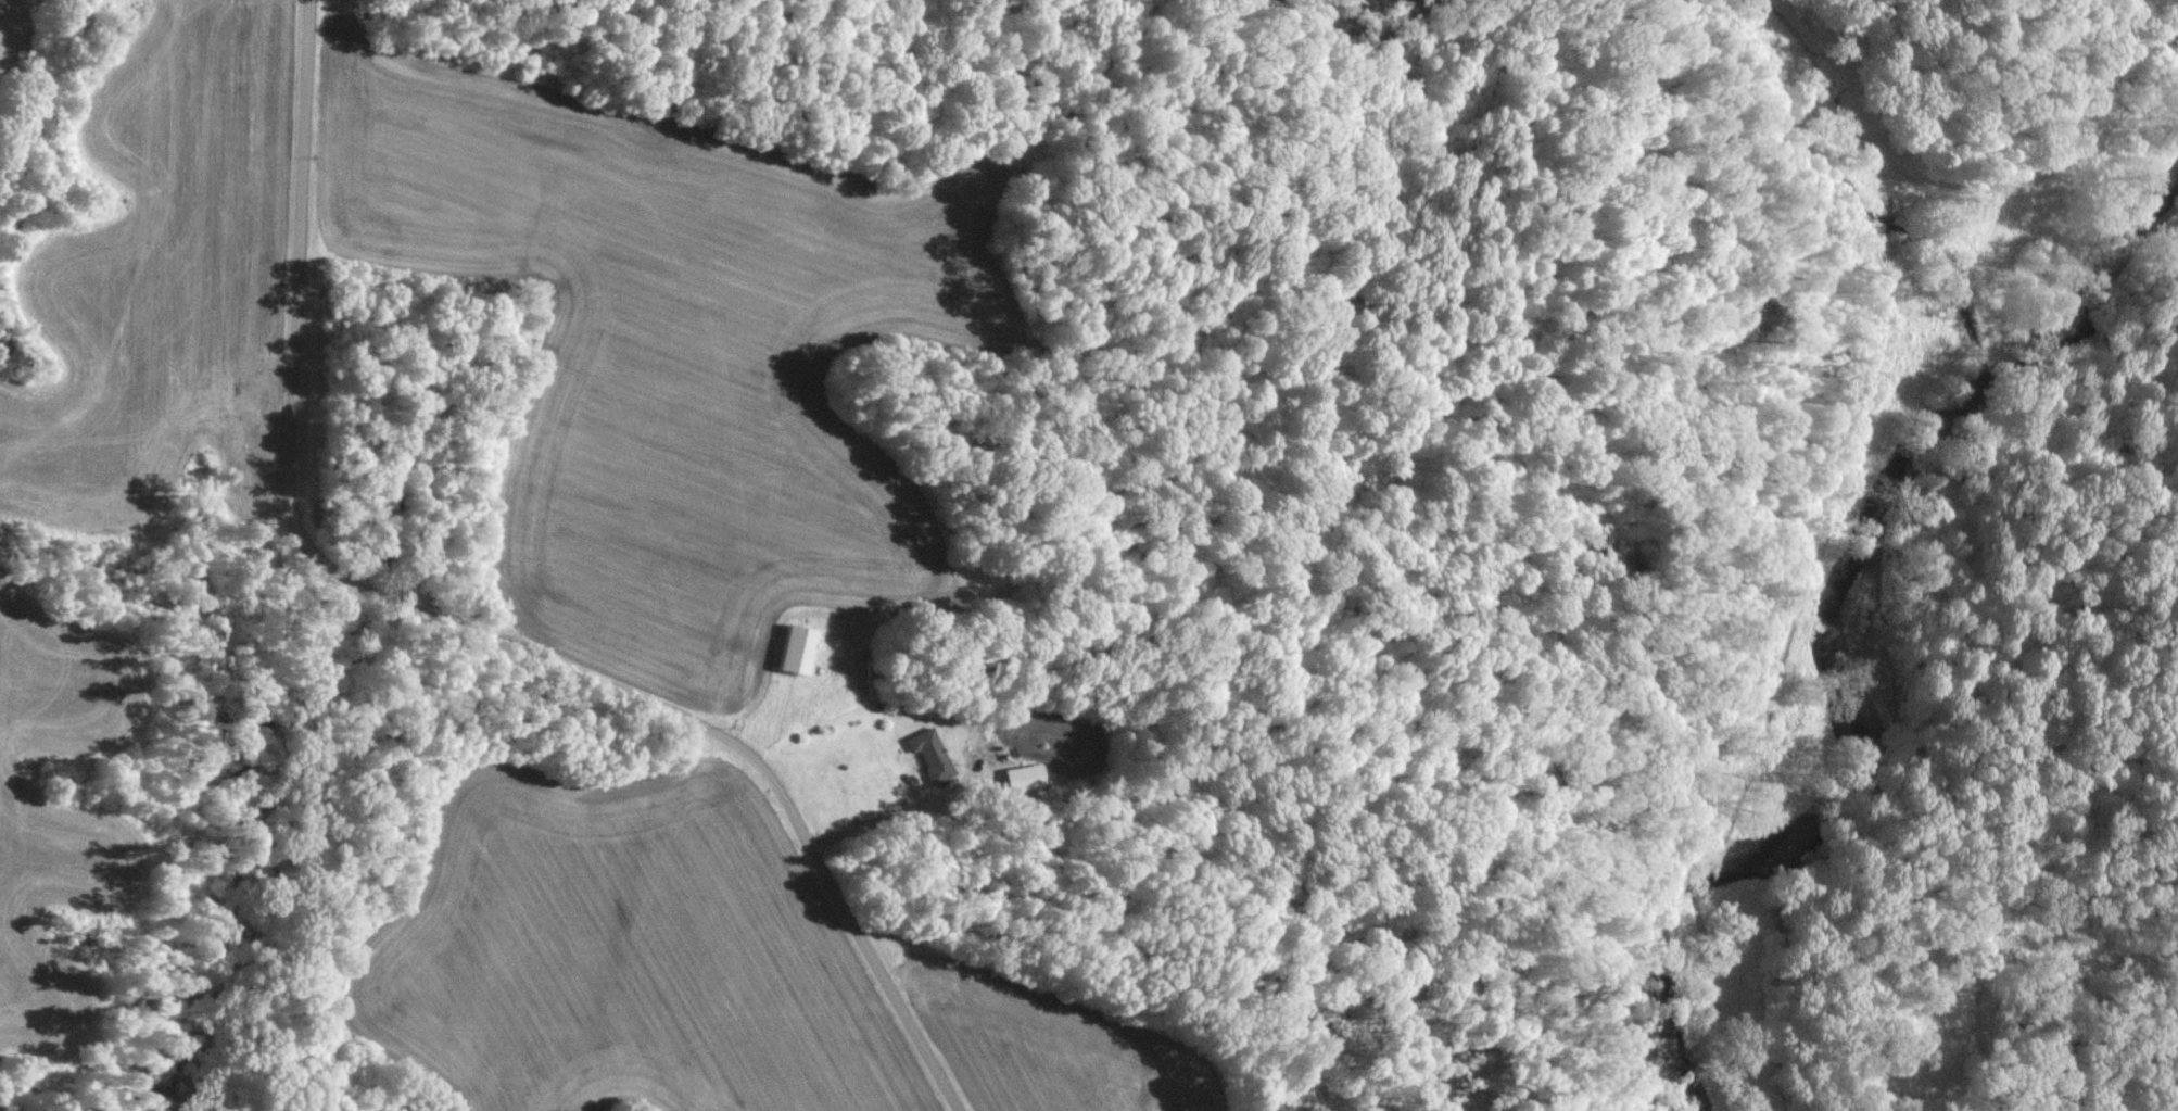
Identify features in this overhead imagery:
road: (449, 630)
building: (793, 647)
building: (929, 754)
building: (1023, 777)

